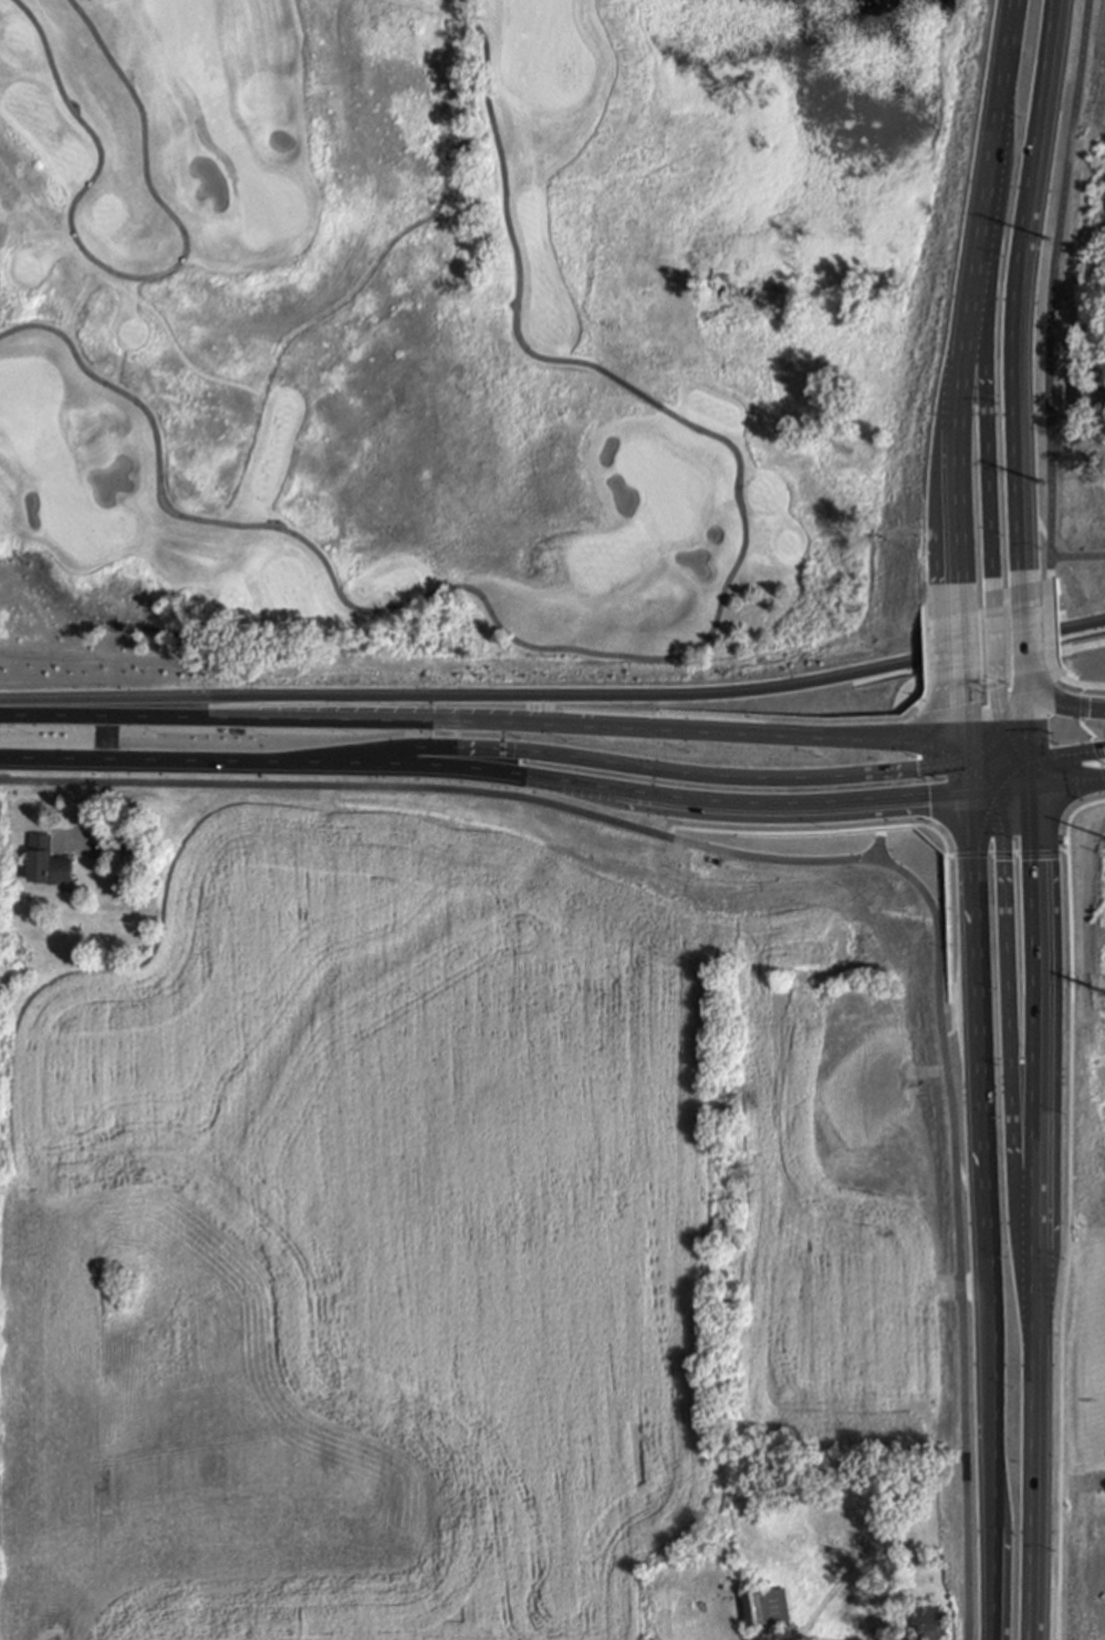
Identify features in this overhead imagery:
power tower: (1053, 238)
road: (133, 277)
road: (1052, 287)
road: (1022, 290)
road: (980, 299)
park: (468, 333)
building: (1091, 394)
road: (992, 456)
power tower: (1046, 480)
road: (1078, 558)
road: (1051, 627)
road: (1032, 633)
road: (995, 641)
road: (957, 650)
road: (657, 657)
road: (990, 666)
road: (1081, 686)
road: (1033, 691)
road: (555, 695)
traffic signals: (1033, 697)
road: (1068, 707)
road: (1001, 708)
road: (1019, 712)
road: (414, 720)
traffic signals: (1004, 726)
road: (961, 728)
road: (1034, 729)
road: (1088, 731)
road: (897, 740)
road: (983, 740)
road: (1018, 744)
traffic signals: (963, 756)
road: (1070, 756)
road: (170, 760)
traffic signals: (1035, 761)
road: (976, 767)
road: (653, 768)
road: (1014, 774)
road: (1053, 774)
road: (1035, 775)
road: (966, 776)
road: (1088, 782)
road: (993, 786)
road: (1054, 787)
road: (442, 789)
traffic signals: (1036, 789)
road: (1018, 791)
traffic signals: (999, 793)
road: (983, 795)
traffic signals: (969, 797)
road: (654, 800)
road: (97, 802)
road: (983, 818)
road: (908, 829)
road: (1010, 855)
building: (46, 859)
road: (1008, 969)
road: (1071, 1211)
road: (1031, 1214)
road: (981, 1217)
road: (957, 1222)
crop: (439, 1233)
building: (767, 1606)
building: (931, 1621)

